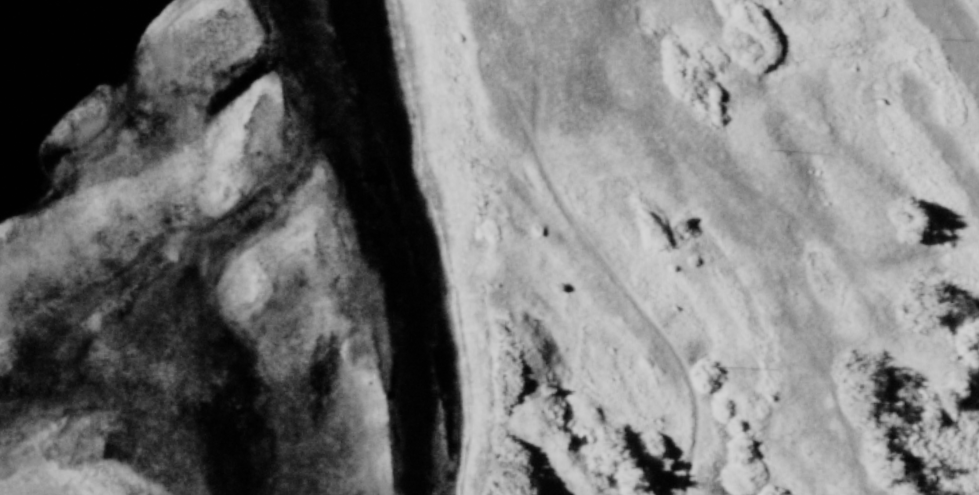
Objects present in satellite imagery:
road: (519, 73)
road: (635, 308)

